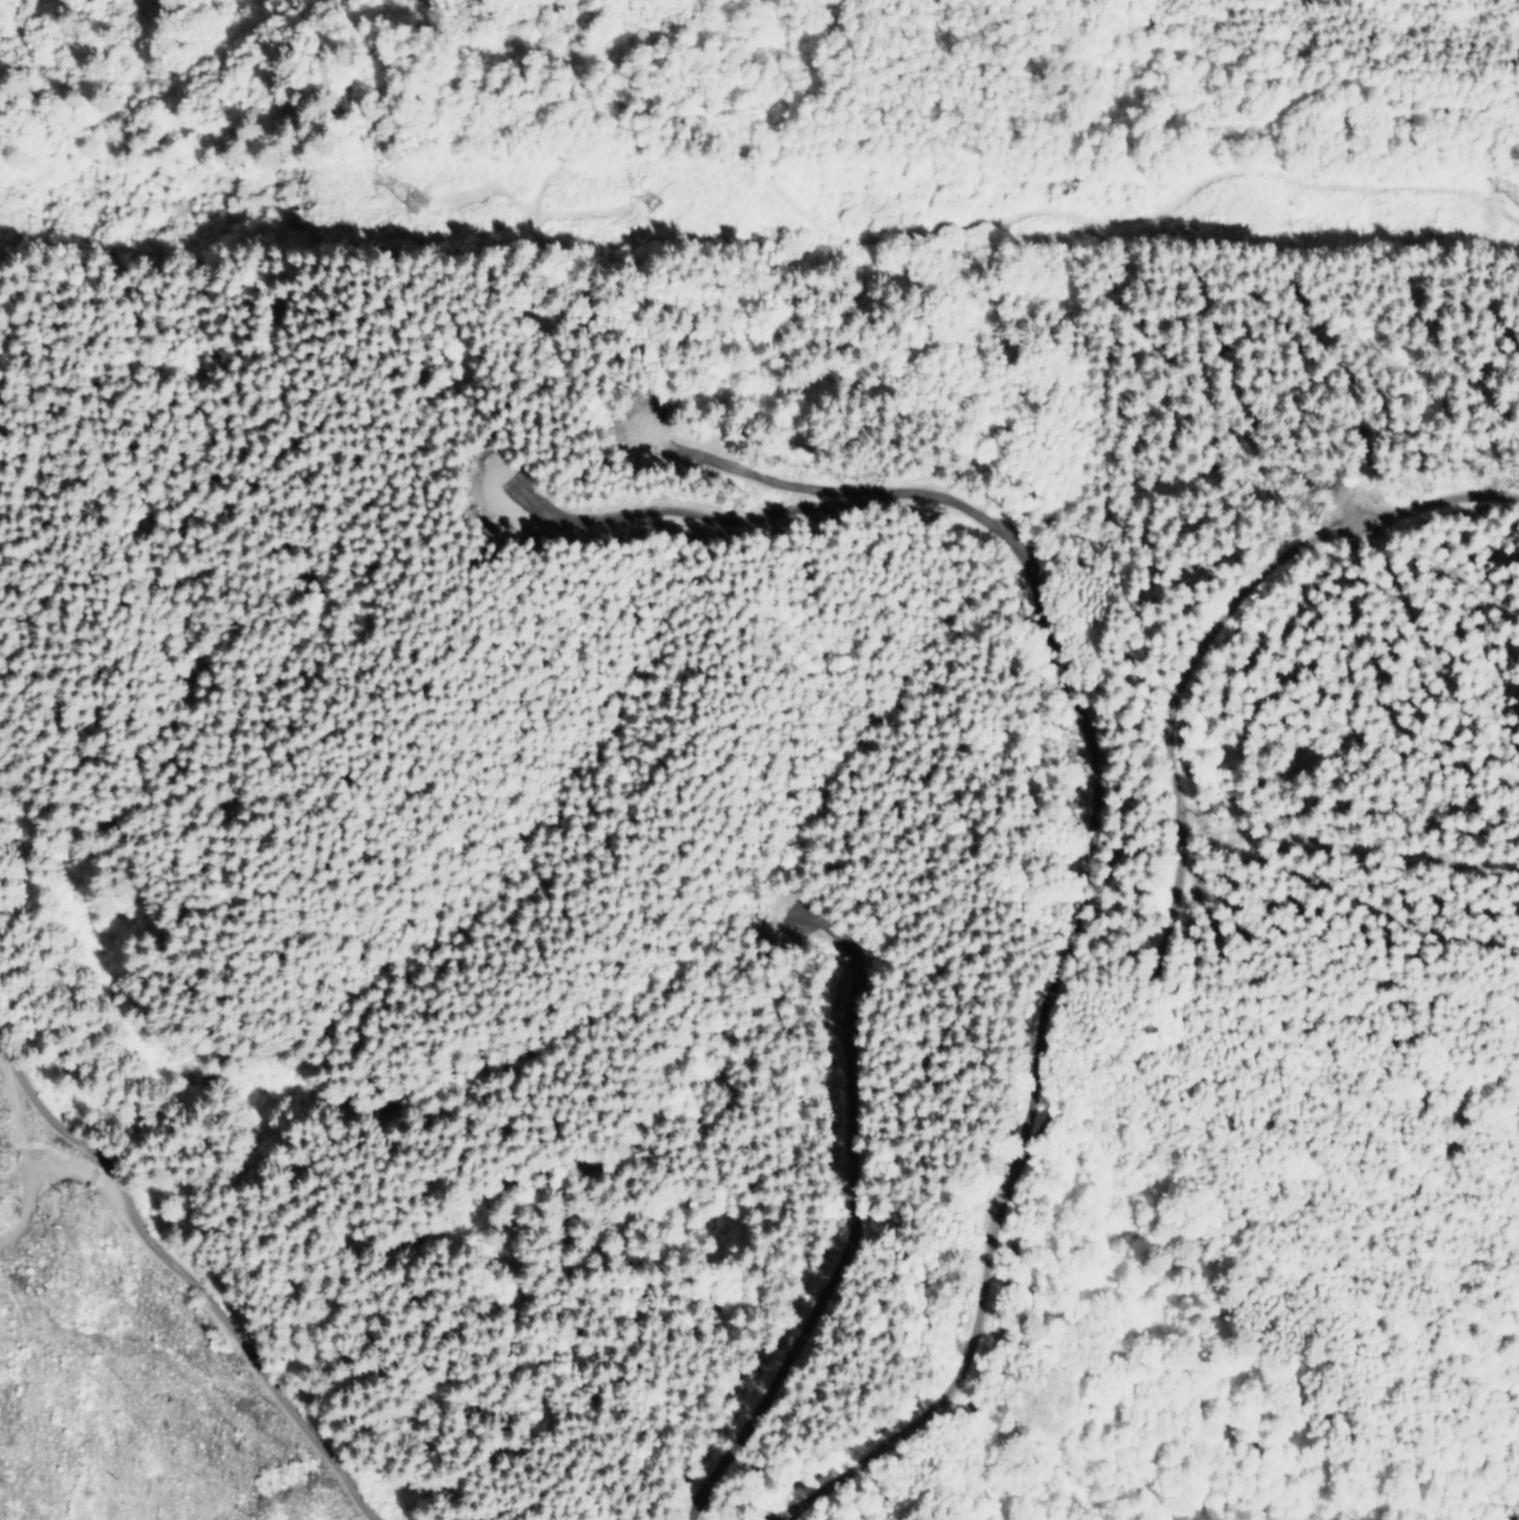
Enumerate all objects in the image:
road: (1232, 174)
power tower: (650, 192)
power tower: (415, 201)
road: (963, 1133)
road: (146, 1294)
road: (728, 1496)

